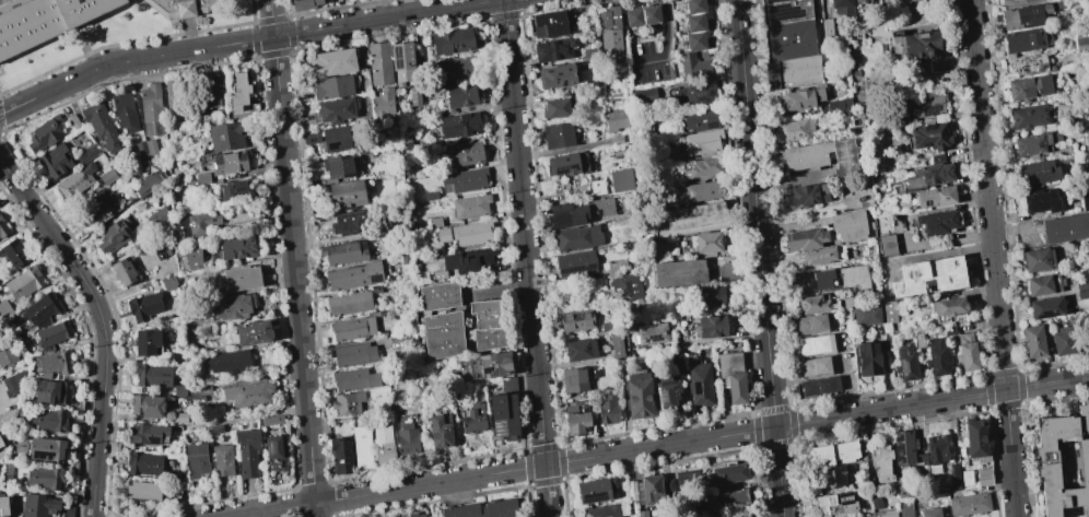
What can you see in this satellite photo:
building: (856, 0)
building: (922, 1)
building: (1017, 2)
building: (1058, 3)
building: (304, 4)
building: (841, 5)
building: (694, 7)
building: (179, 8)
building: (649, 14)
building: (1022, 15)
building: (608, 17)
building: (633, 17)
building: (46, 21)
building: (694, 22)
building: (547, 24)
building: (789, 30)
building: (452, 40)
building: (694, 40)
building: (1023, 40)
road: (243, 42)
building: (610, 42)
building: (1080, 43)
road: (665, 44)
building: (917, 45)
building: (553, 49)
building: (331, 61)
building: (401, 62)
building: (378, 63)
building: (692, 66)
building: (1026, 66)
building: (454, 69)
building: (797, 73)
building: (557, 75)
building: (333, 86)
building: (1028, 87)
rooftop solar panel: (700, 89)
building: (207, 91)
building: (237, 91)
rooftop solar panel: (711, 92)
building: (700, 93)
building: (460, 95)
building: (642, 95)
building: (172, 96)
building: (413, 96)
rooftop solar panel: (702, 97)
building: (800, 98)
building: (382, 103)
building: (839, 105)
building: (924, 105)
building: (554, 108)
building: (150, 109)
rooftop solar panel: (929, 109)
building: (336, 110)
building: (124, 111)
building: (1029, 116)
building: (72, 120)
building: (614, 120)
building: (700, 120)
building: (459, 125)
building: (101, 126)
rooftop solar panel: (711, 126)
building: (793, 129)
building: (45, 132)
building: (558, 134)
building: (225, 136)
building: (929, 136)
building: (311, 138)
building: (338, 138)
building: (614, 139)
building: (702, 141)
building: (402, 142)
building: (1086, 143)
building: (1030, 144)
building: (144, 146)
road: (562, 149)
building: (86, 153)
building: (462, 154)
building: (805, 156)
building: (843, 157)
building: (56, 161)
building: (229, 162)
building: (566, 164)
building: (1087, 164)
building: (338, 166)
building: (702, 168)
building: (1037, 172)
building: (930, 173)
building: (107, 176)
building: (201, 179)
building: (465, 179)
building: (621, 180)
building: (150, 183)
building: (73, 184)
building: (596, 187)
building: (698, 190)
building: (231, 191)
building: (347, 193)
building: (430, 195)
building: (807, 196)
building: (934, 197)
building: (1084, 200)
building: (1040, 201)
building: (470, 207)
building: (102, 209)
building: (578, 211)
rooftop solar panel: (350, 214)
building: (694, 214)
building: (157, 216)
building: (349, 222)
building: (434, 222)
building: (937, 222)
building: (197, 224)
building: (847, 225)
building: (1065, 227)
building: (2, 228)
building: (465, 233)
building: (114, 235)
building: (577, 238)
building: (805, 239)
building: (705, 242)
building: (886, 245)
building: (236, 248)
building: (438, 250)
building: (161, 252)
building: (13, 254)
building: (342, 254)
building: (817, 255)
building: (190, 257)
road: (292, 258)
road: (526, 258)
road: (760, 258)
road: (993, 258)
building: (405, 259)
building: (1037, 259)
building: (468, 260)
building: (575, 262)
building: (614, 267)
building: (122, 270)
building: (679, 272)
building: (353, 275)
building: (437, 275)
building: (927, 275)
building: (237, 278)
rooftop solar panel: (377, 278)
building: (841, 278)
building: (168, 282)
building: (22, 284)
building: (1043, 284)
building: (1081, 284)
building: (627, 285)
building: (375, 289)
building: (1082, 294)
building: (438, 295)
building: (709, 295)
building: (348, 303)
building: (812, 304)
building: (143, 306)
building: (231, 306)
building: (947, 306)
building: (1045, 307)
building: (3, 309)
building: (40, 309)
building: (887, 312)
rooftop solar panel: (1044, 314)
building: (865, 315)
building: (576, 320)
road: (103, 324)
building: (485, 325)
building: (809, 325)
building: (712, 327)
building: (351, 328)
building: (250, 332)
building: (52, 333)
building: (651, 333)
building: (443, 334)
rooftop solar panel: (654, 337)
building: (145, 341)
building: (1032, 341)
building: (1062, 341)
building: (811, 344)
building: (616, 345)
building: (578, 350)
building: (965, 352)
building: (353, 354)
building: (7, 355)
building: (175, 357)
building: (935, 357)
building: (867, 359)
building: (227, 361)
rooftop solar panel: (490, 361)
building: (54, 362)
building: (904, 363)
building: (490, 365)
building: (813, 366)
rooftop solar panel: (902, 366)
rooftop solar panel: (487, 369)
building: (593, 371)
building: (153, 375)
rooftop solar panel: (494, 375)
building: (731, 375)
building: (353, 379)
building: (574, 379)
building: (14, 384)
building: (700, 384)
building: (827, 384)
building: (807, 387)
building: (179, 390)
building: (50, 392)
building: (247, 393)
building: (666, 395)
building: (637, 396)
rooftop solar panel: (659, 397)
building: (347, 403)
road: (3, 404)
building: (145, 406)
building: (608, 410)
building: (502, 415)
building: (179, 418)
building: (47, 420)
building: (271, 420)
building: (473, 420)
building: (576, 422)
building: (215, 428)
rooftop solar panel: (497, 428)
building: (438, 432)
building: (147, 433)
building: (405, 434)
building: (975, 437)
rooftop solar panel: (153, 439)
building: (0, 444)
building: (383, 445)
road: (659, 446)
rooftop solar panel: (268, 447)
building: (362, 447)
building: (903, 447)
building: (936, 448)
building: (44, 449)
building: (272, 450)
building: (247, 453)
building: (832, 454)
building: (340, 456)
building: (196, 460)
building: (221, 460)
building: (1047, 461)
building: (880, 462)
building: (143, 463)
building: (5, 472)
building: (728, 472)
building: (831, 475)
building: (44, 477)
building: (983, 477)
building: (959, 478)
building: (687, 480)
building: (653, 489)
building: (142, 490)
building: (593, 490)
building: (631, 491)
rooftop solar panel: (593, 495)
building: (724, 498)
building: (834, 502)
building: (875, 502)
building: (969, 504)
building: (2, 506)
building: (37, 506)
building: (904, 507)
building: (482, 509)
building: (68, 512)
building: (600, 512)
building: (930, 513)
building: (641, 514)
building: (413, 515)
building: (733, 515)
building: (887, 515)
building: (14, 516)

